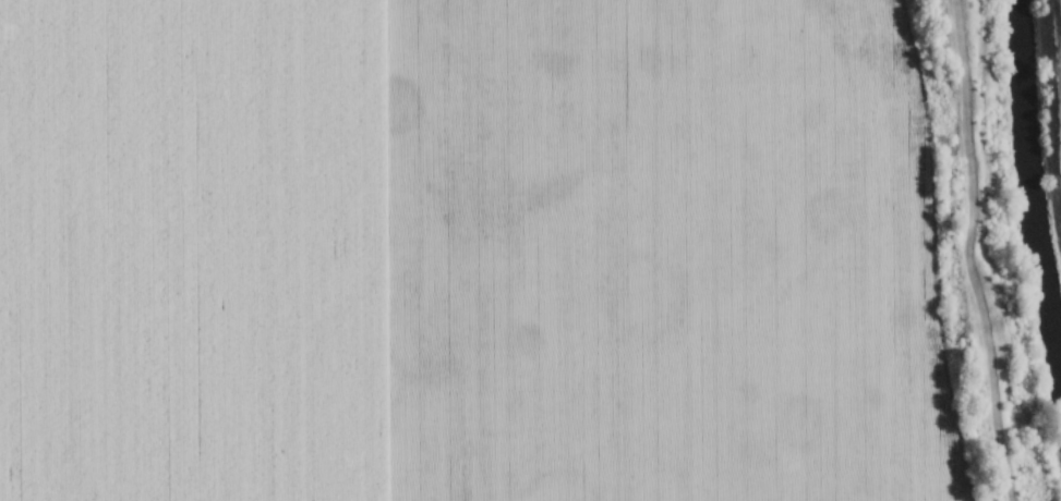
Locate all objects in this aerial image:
crop: (463, 253)

